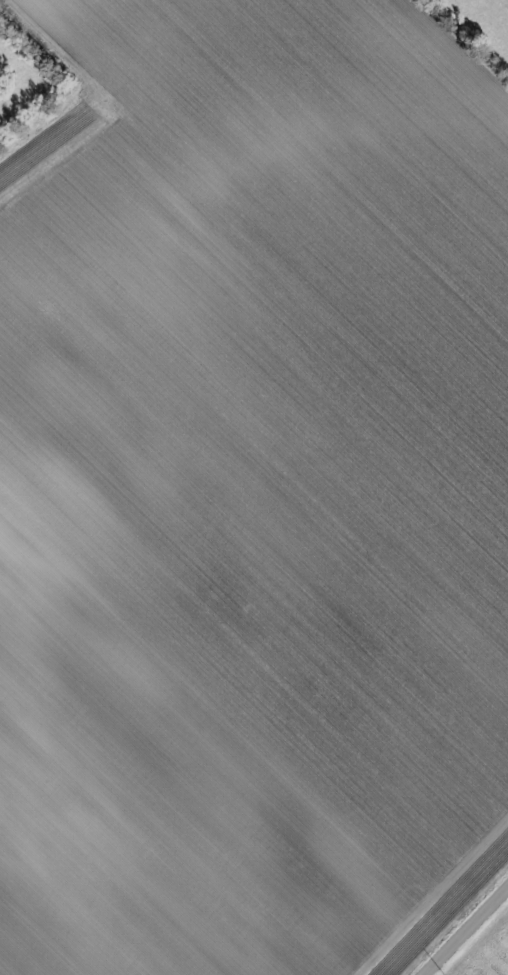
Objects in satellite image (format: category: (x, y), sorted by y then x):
road: (465, 930)

